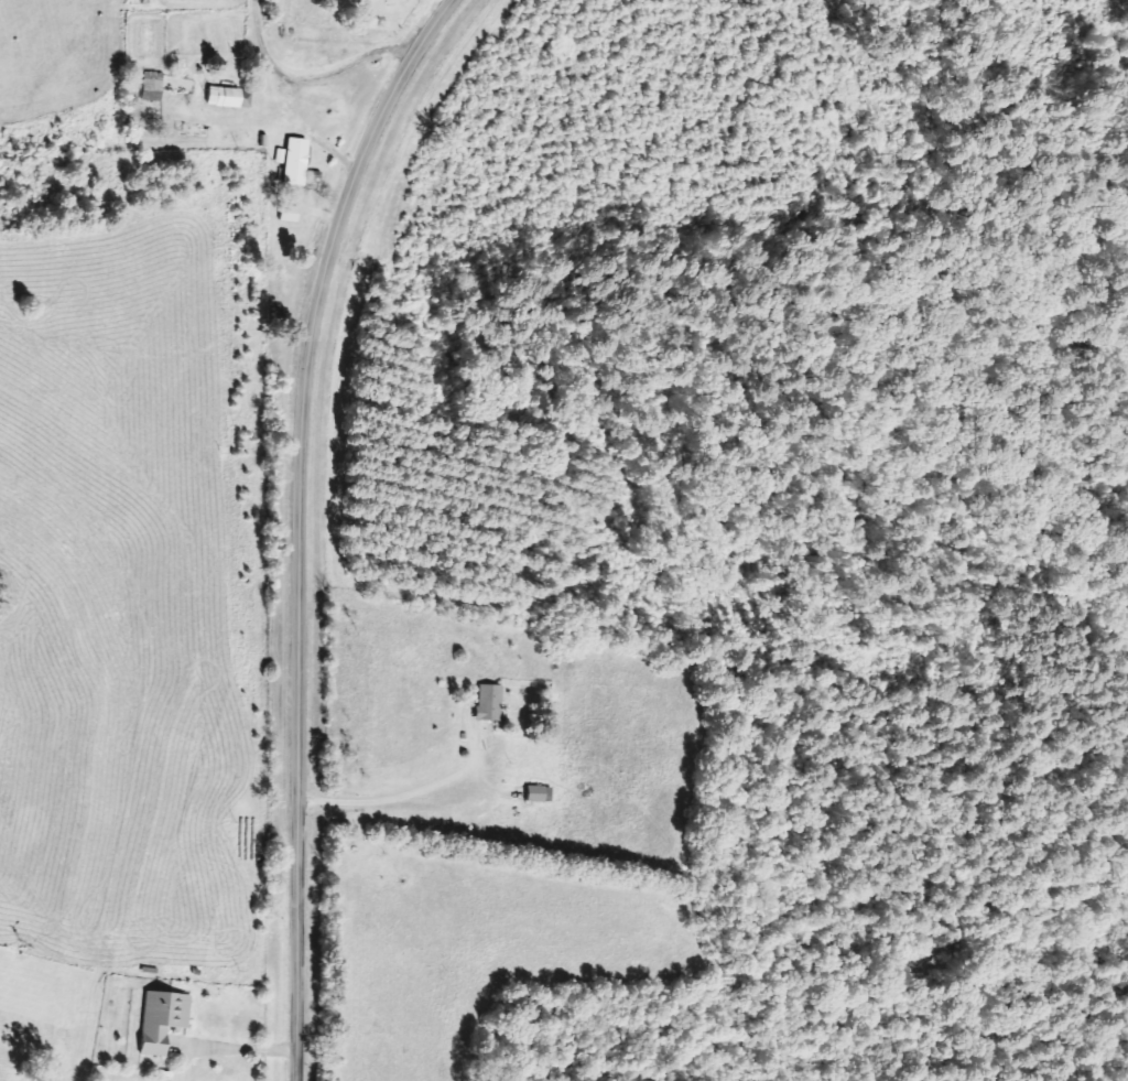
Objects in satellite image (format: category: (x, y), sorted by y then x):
building: (152, 86)
building: (230, 97)
building: (280, 155)
building: (296, 161)
building: (291, 213)
road: (303, 523)
building: (489, 702)
building: (536, 793)
building: (156, 1020)

